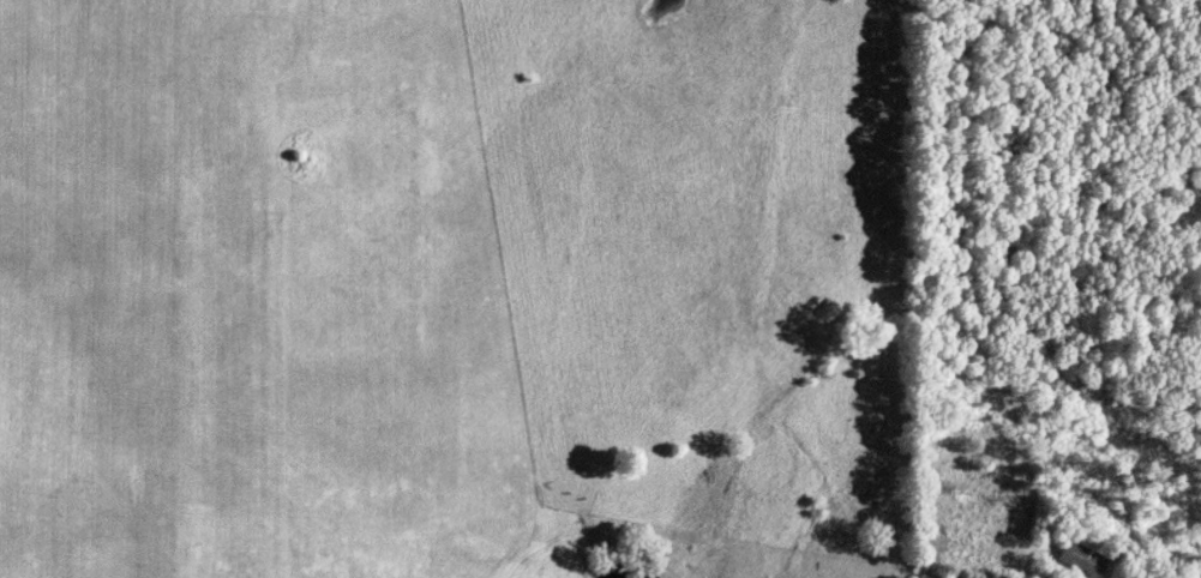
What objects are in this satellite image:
building: (1082, 559)

